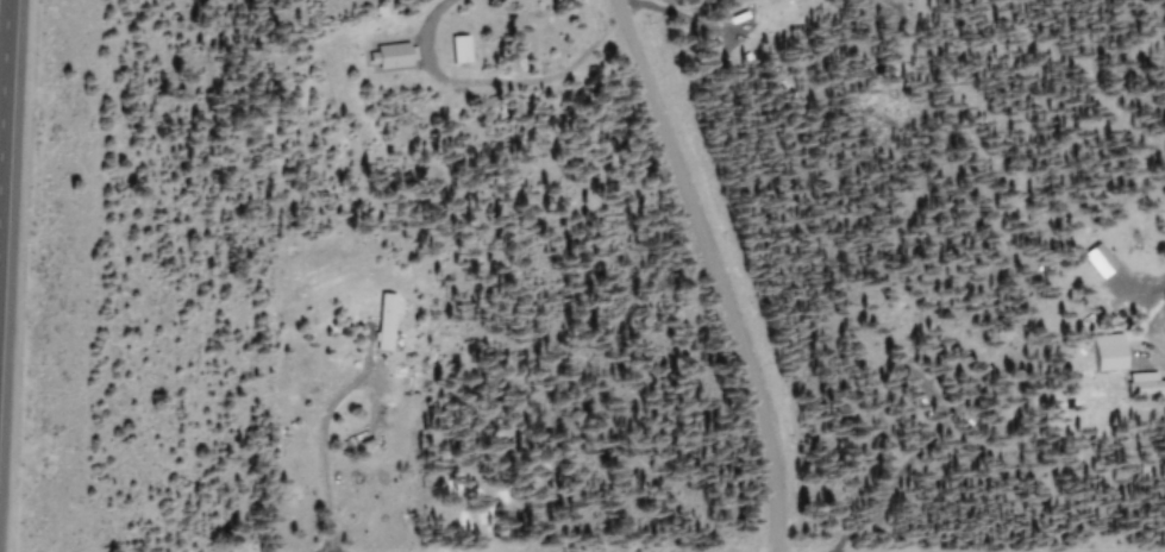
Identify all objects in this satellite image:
road: (1, 38)
building: (455, 48)
building: (384, 56)
building: (1092, 259)
road: (710, 271)
building: (378, 309)
building: (1101, 352)
building: (1142, 384)

